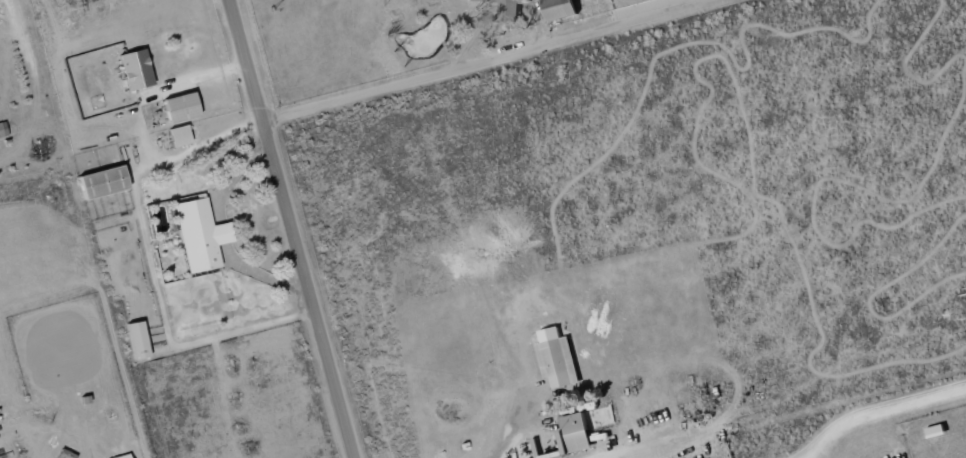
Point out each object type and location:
building: (507, 8)
building: (559, 9)
road: (487, 63)
building: (135, 69)
building: (180, 107)
building: (179, 136)
building: (102, 182)
road: (288, 228)
building: (199, 235)
building: (136, 340)
building: (556, 358)
road: (510, 417)
building: (936, 431)
building: (575, 434)
building: (122, 456)

